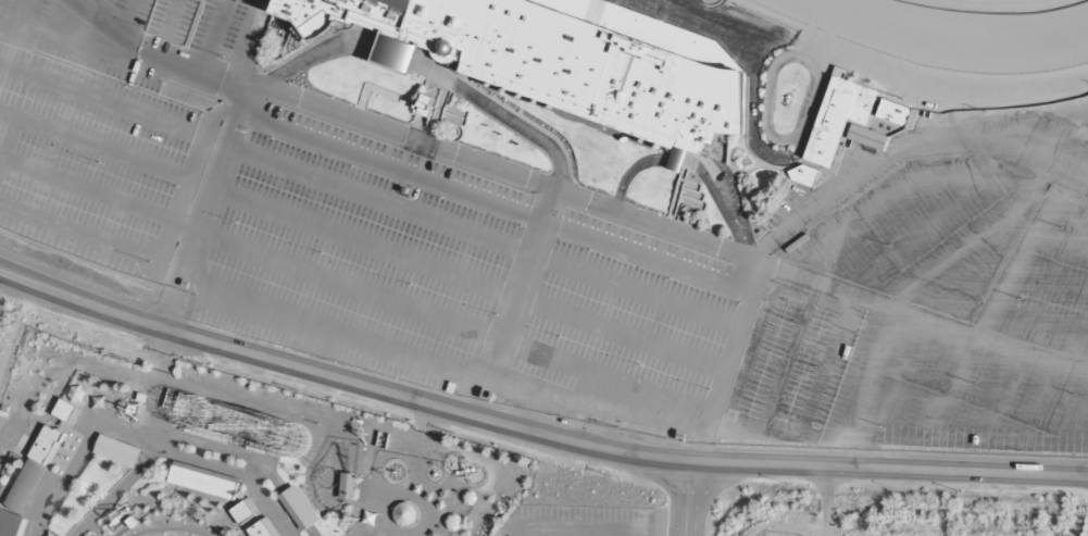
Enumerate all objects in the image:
road: (83, 1)
road: (129, 16)
parking lot: (200, 25)
track: (955, 33)
road: (214, 37)
parking lot: (88, 45)
road: (240, 46)
road: (315, 53)
building: (396, 53)
road: (396, 54)
road: (155, 55)
building: (560, 59)
road: (958, 90)
road: (117, 105)
building: (893, 112)
road: (502, 114)
building: (837, 116)
road: (14, 121)
road: (401, 134)
building: (866, 137)
road: (904, 146)
road: (102, 148)
parking lot: (90, 163)
building: (802, 175)
road: (906, 185)
road: (97, 196)
road: (182, 198)
road: (493, 202)
road: (203, 204)
parking lot: (925, 230)
road: (79, 233)
road: (483, 234)
road: (1059, 242)
parking lot: (359, 250)
road: (1018, 253)
parking lot: (1048, 270)
road: (977, 276)
road: (466, 279)
road: (1048, 282)
road: (820, 283)
road: (890, 290)
road: (513, 301)
road: (451, 320)
road: (1038, 321)
road: (333, 325)
parking lot: (622, 325)
road: (733, 345)
road: (786, 366)
parking lot: (789, 366)
road: (908, 381)
road: (950, 388)
parking lot: (950, 396)
road: (992, 396)
road: (1035, 402)
road: (593, 408)
road: (1075, 412)
road: (534, 431)
road: (800, 435)
road: (895, 439)
road: (699, 444)
theme park: (268, 463)
road: (686, 497)
parking lot: (577, 521)
road: (570, 528)
road: (550, 532)
road: (591, 533)

